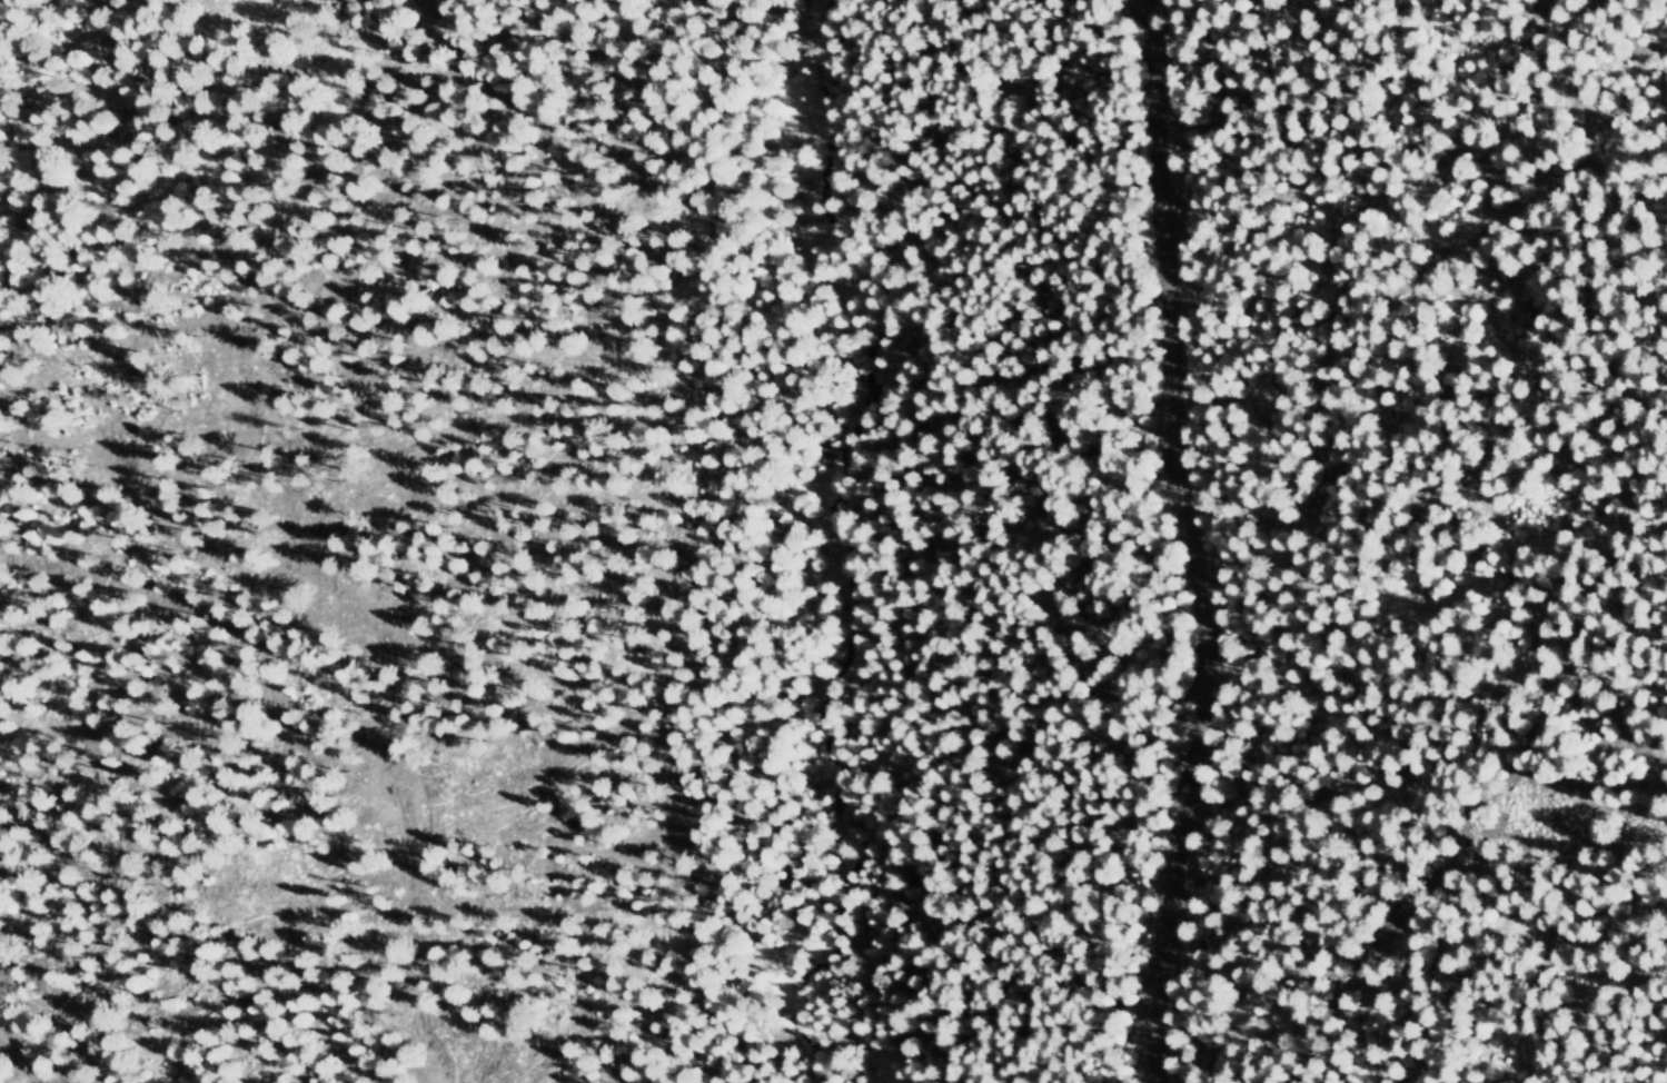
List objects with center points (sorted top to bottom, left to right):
road: (1214, 543)
road: (18, 1061)

